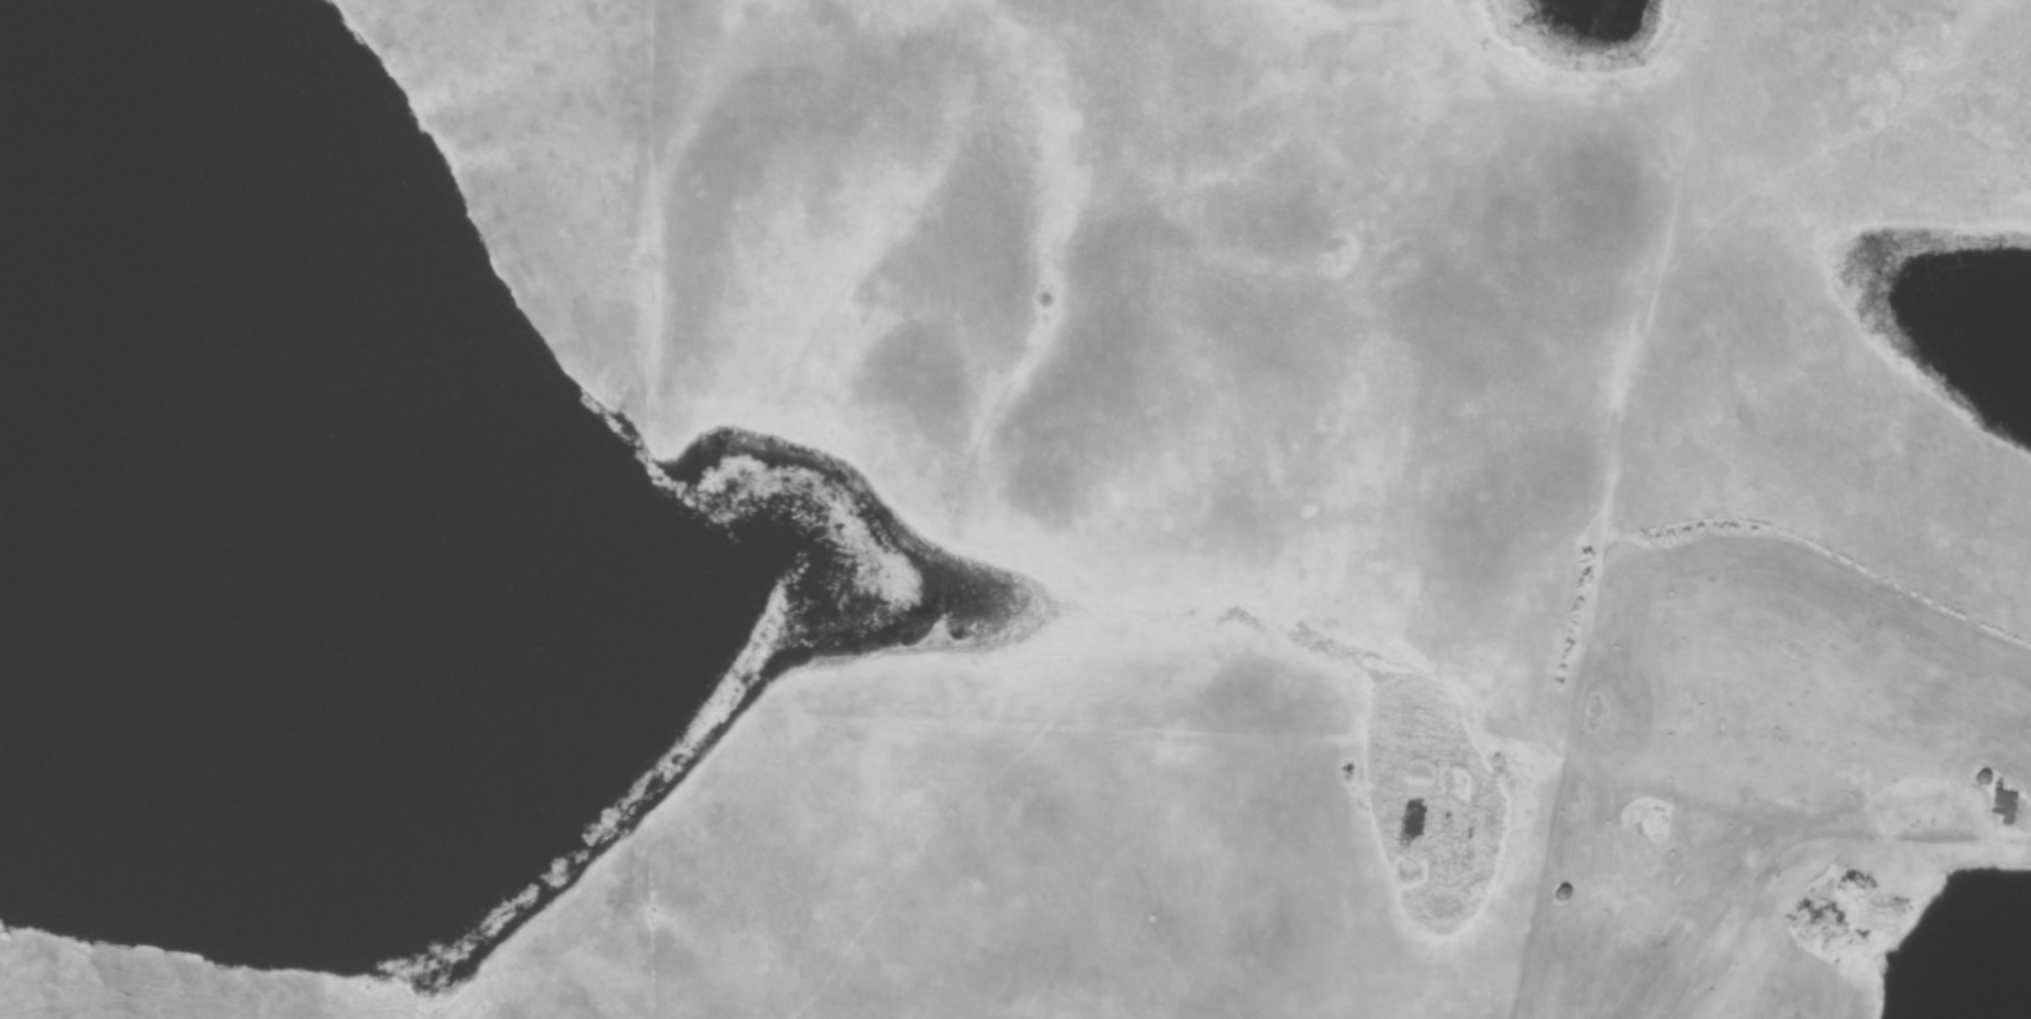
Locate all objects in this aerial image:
road: (1601, 547)
building: (1990, 779)
silo: (1990, 779)
building: (2004, 806)
building: (1626, 816)
building: (1650, 822)
road: (1799, 838)
building: (1561, 894)
silo: (1561, 894)
building: (1796, 942)
silo: (1796, 942)
building: (1794, 955)
silo: (1794, 955)
building: (1835, 963)
silo: (1835, 963)

